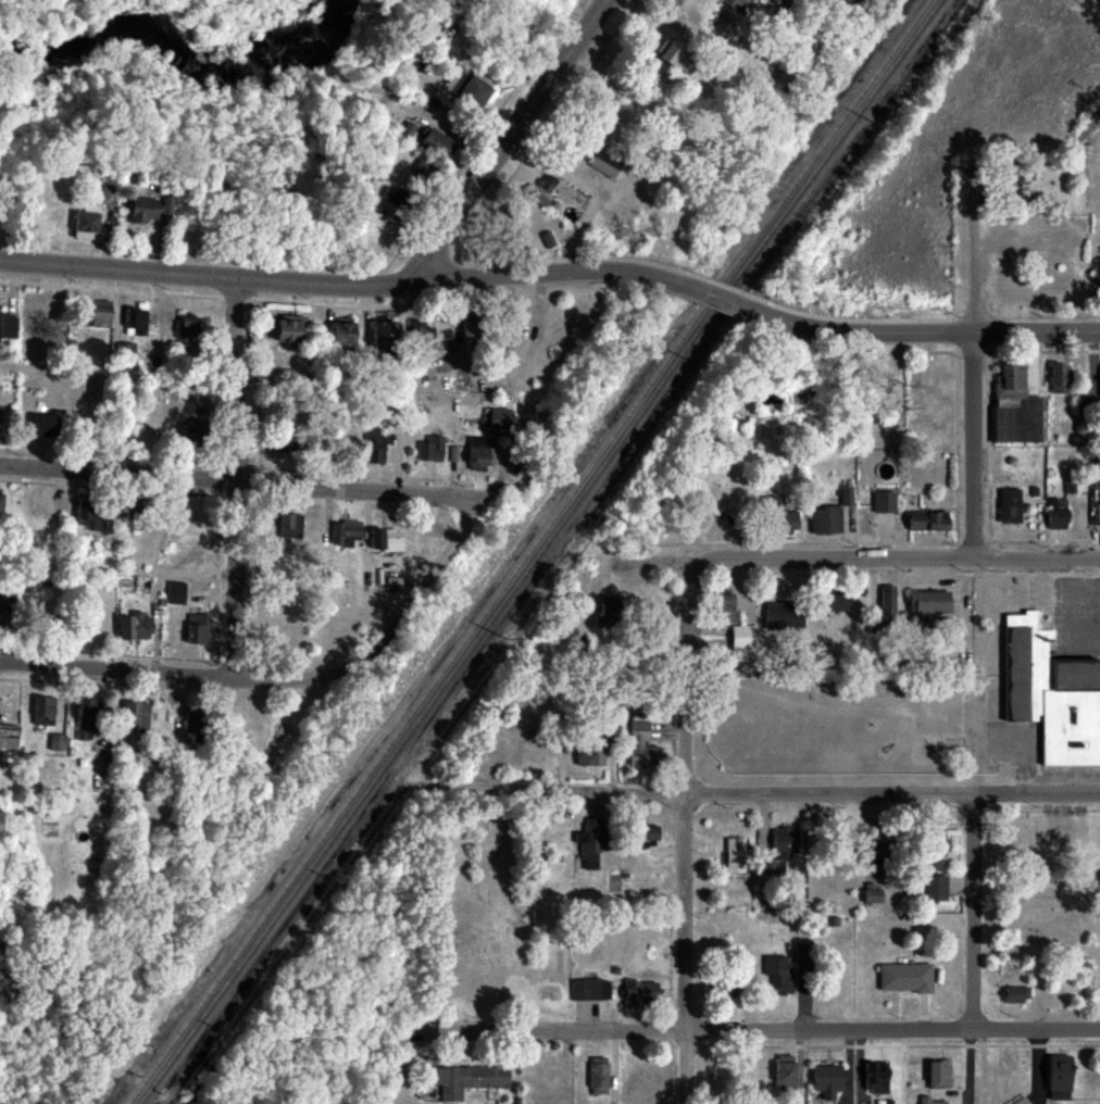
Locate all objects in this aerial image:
building: (748, 0)
building: (729, 3)
building: (435, 142)
road: (509, 142)
building: (605, 164)
building: (1018, 172)
building: (548, 181)
building: (143, 210)
building: (86, 222)
road: (336, 285)
road: (716, 298)
building: (46, 309)
building: (101, 315)
building: (128, 318)
building: (9, 328)
building: (186, 328)
building: (472, 329)
building: (288, 330)
road: (928, 334)
building: (342, 335)
building: (384, 340)
building: (128, 355)
building: (1060, 379)
building: (1015, 406)
building: (45, 427)
road: (974, 428)
building: (196, 434)
building: (376, 449)
building: (434, 449)
building: (479, 451)
road: (238, 478)
building: (1097, 480)
road: (241, 481)
building: (885, 502)
building: (0, 503)
building: (1010, 505)
building: (1058, 514)
building: (778, 518)
building: (84, 519)
building: (826, 519)
building: (928, 522)
building: (291, 526)
building: (346, 534)
building: (386, 540)
railway: (542, 550)
railway: (529, 551)
road: (849, 559)
building: (35, 589)
building: (176, 593)
building: (838, 602)
road: (409, 603)
building: (888, 603)
building: (724, 605)
building: (927, 606)
building: (610, 612)
building: (1, 615)
building: (785, 616)
building: (123, 628)
building: (141, 628)
building: (198, 629)
building: (90, 630)
building: (742, 638)
road: (155, 674)
building: (1051, 697)
building: (46, 711)
building: (138, 717)
building: (89, 719)
building: (198, 727)
building: (9, 737)
building: (59, 743)
building: (642, 747)
building: (591, 754)
building: (129, 764)
road: (834, 794)
road: (688, 831)
building: (645, 837)
building: (591, 844)
building: (882, 848)
building: (782, 852)
building: (937, 853)
building: (736, 857)
building: (937, 890)
building: (873, 898)
road: (976, 913)
building: (907, 979)
building: (787, 982)
building: (727, 984)
building: (597, 990)
building: (640, 994)
building: (1015, 995)
road: (754, 1031)
building: (546, 1070)
building: (786, 1072)
building: (940, 1075)
building: (599, 1076)
building: (1061, 1078)
building: (828, 1079)
building: (877, 1079)
building: (471, 1081)
building: (934, 1101)
building: (1022, 1101)

